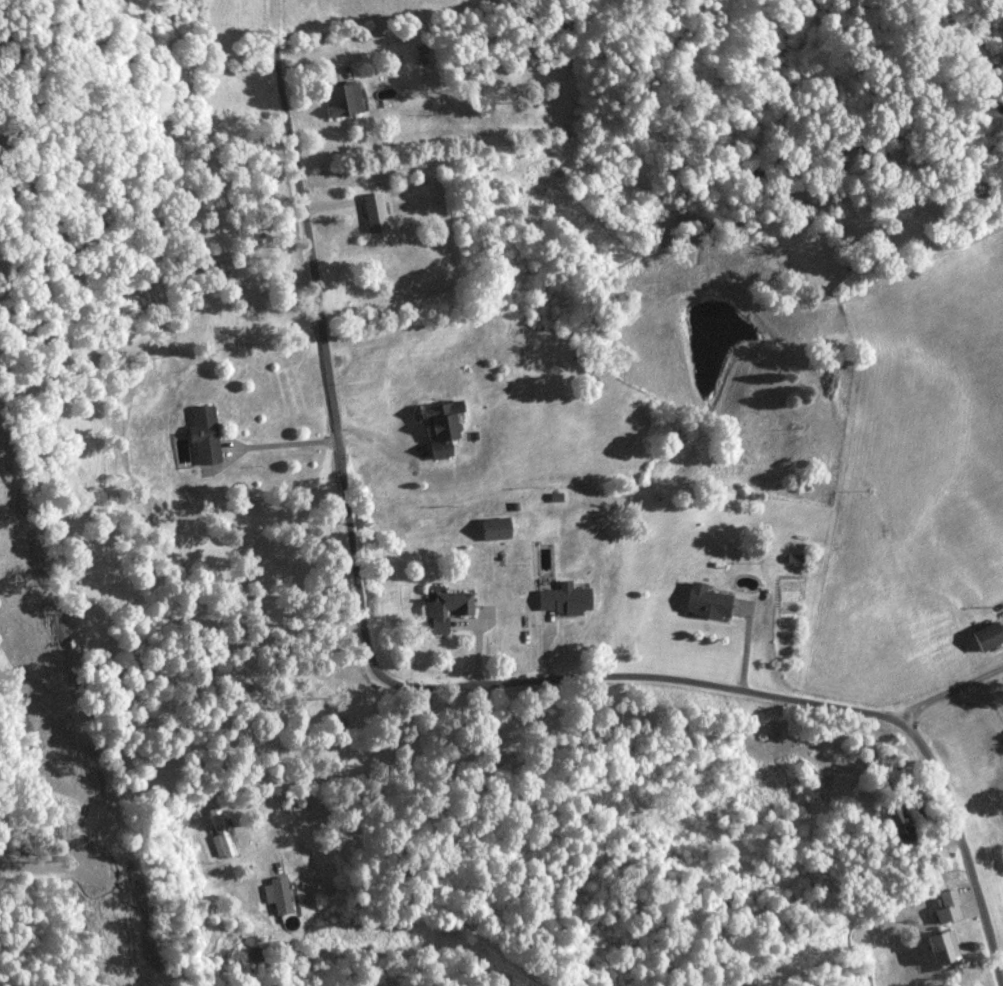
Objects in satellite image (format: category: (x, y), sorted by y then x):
building: (346, 99)
building: (377, 214)
building: (442, 433)
building: (498, 528)
building: (568, 601)
building: (712, 604)
building: (445, 610)
building: (992, 636)
road: (440, 682)
road: (955, 693)
building: (812, 773)
building: (845, 792)
building: (903, 825)
road: (49, 865)
road: (410, 881)
building: (282, 897)
building: (946, 948)

